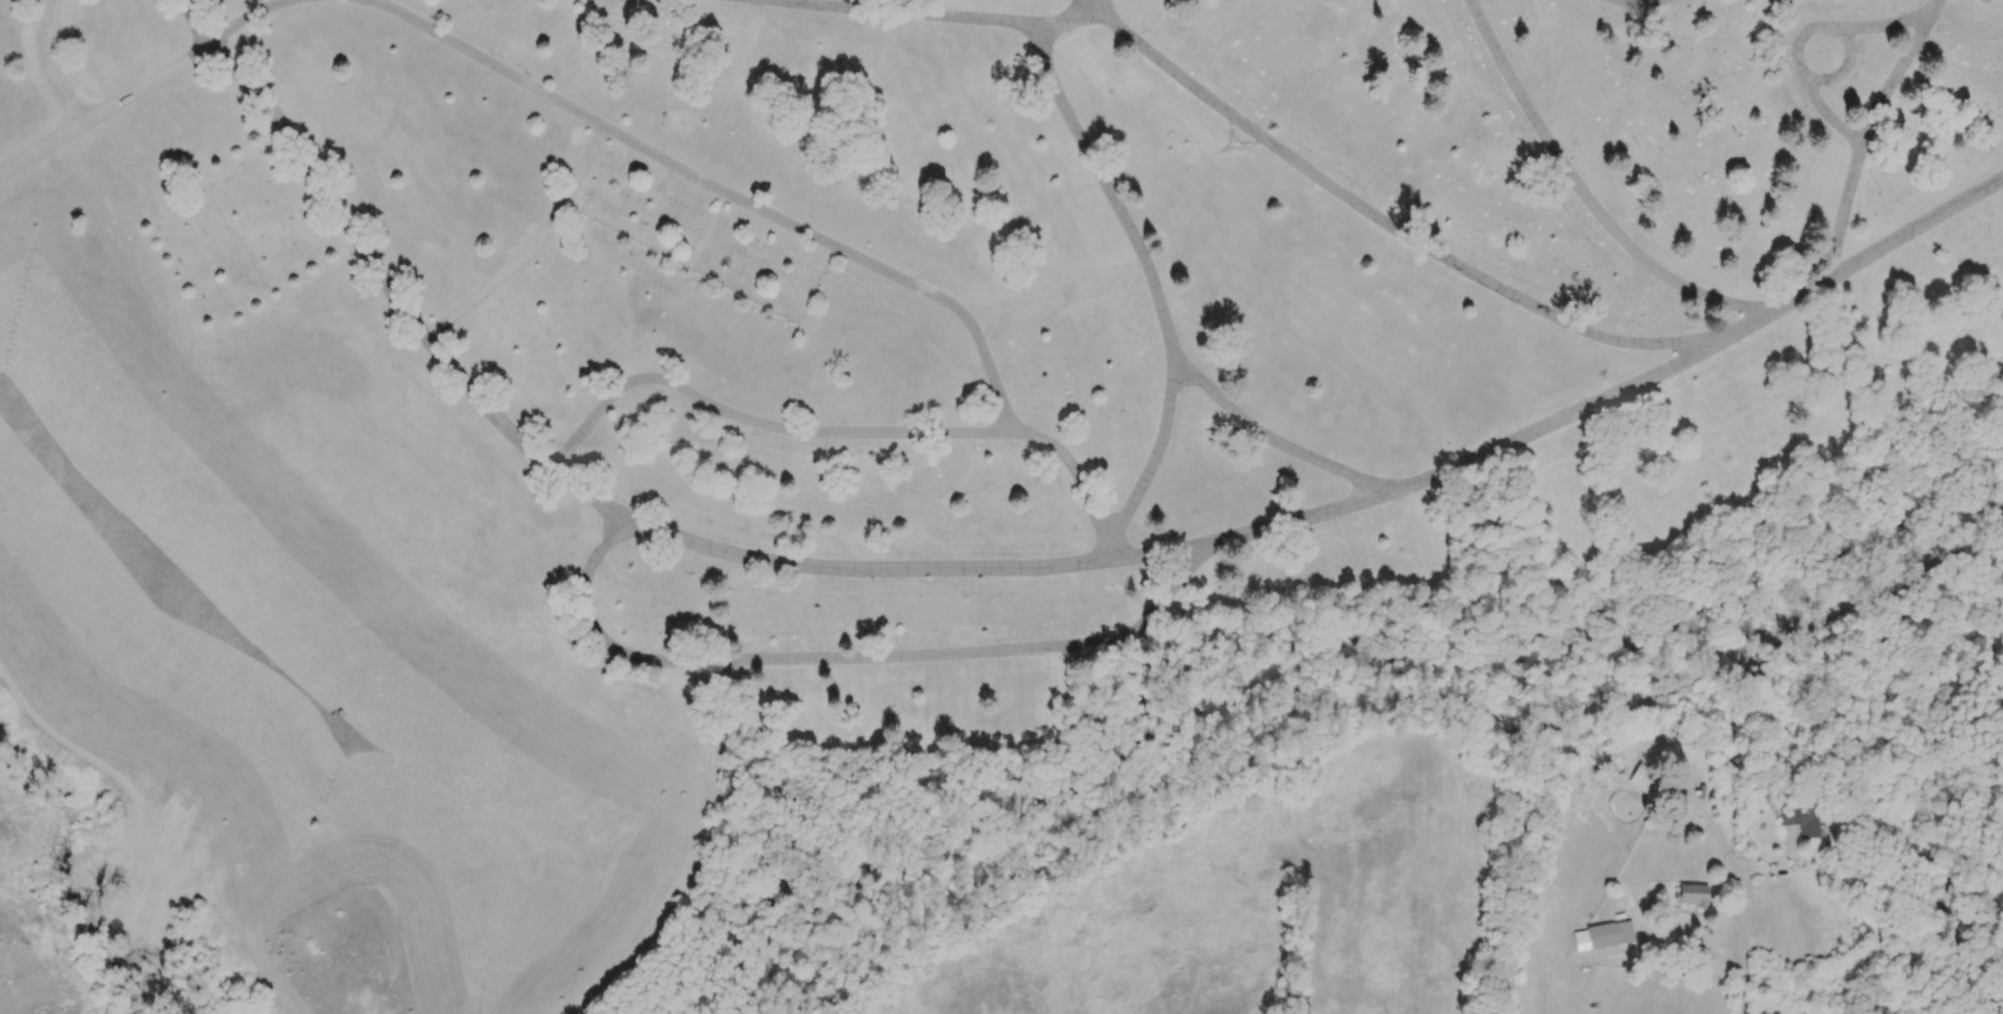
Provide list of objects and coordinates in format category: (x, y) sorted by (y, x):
road: (1094, 3)
road: (1098, 3)
road: (1641, 4)
road: (1805, 33)
road: (51, 63)
road: (146, 84)
road: (1247, 125)
road: (1866, 133)
road: (722, 185)
road: (1585, 193)
road: (534, 245)
road: (846, 433)
park: (883, 438)
road: (1157, 455)
road: (1422, 480)
road: (584, 492)
road: (947, 653)
building: (1645, 780)
building: (1802, 820)
road: (1710, 828)
building: (1694, 895)
building: (1610, 934)
road: (1690, 939)
road: (1742, 944)

